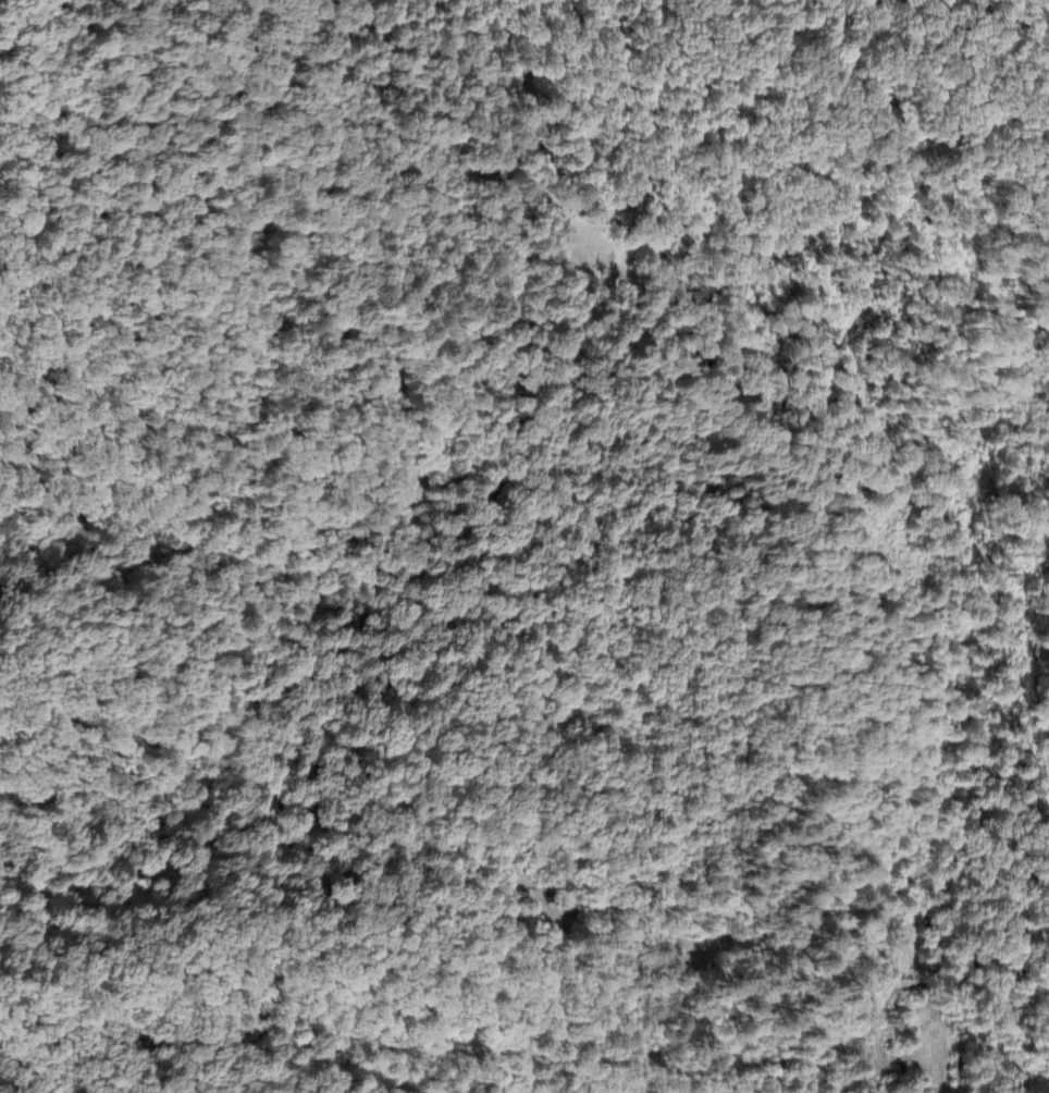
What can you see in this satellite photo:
road: (526, 69)
road: (1010, 187)
building: (669, 950)

